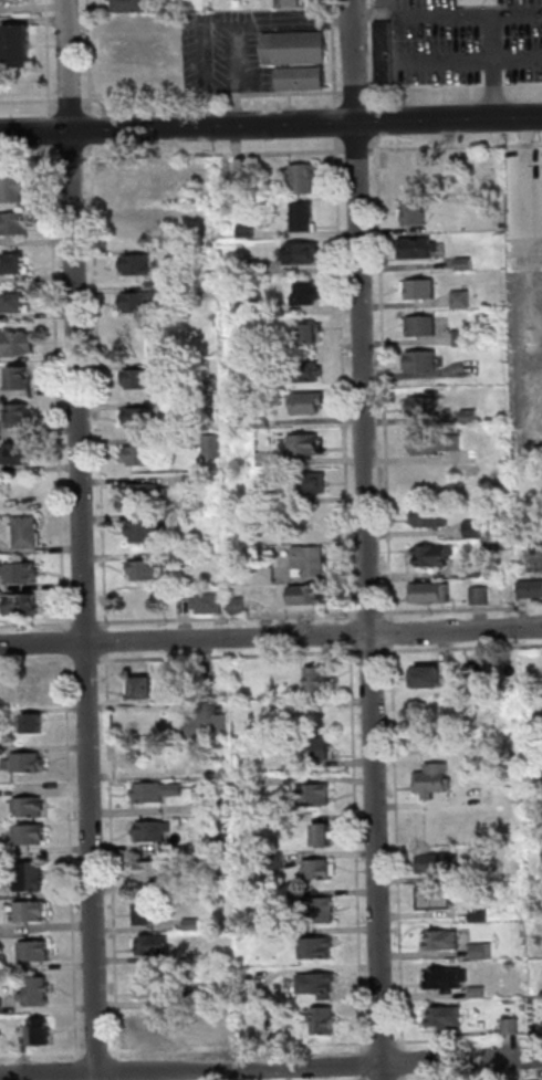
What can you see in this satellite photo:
building: (9, 1)
building: (486, 1)
building: (295, 3)
building: (129, 6)
road: (469, 12)
road: (34, 18)
road: (244, 27)
road: (207, 42)
parking lot: (466, 42)
building: (20, 48)
parking lot: (238, 48)
road: (375, 52)
building: (386, 52)
road: (335, 54)
road: (50, 57)
road: (90, 57)
building: (300, 60)
road: (469, 60)
road: (493, 65)
building: (3, 73)
road: (456, 90)
road: (358, 93)
road: (215, 96)
road: (30, 101)
road: (72, 101)
road: (519, 117)
road: (377, 119)
road: (426, 119)
road: (338, 122)
road: (178, 127)
road: (52, 130)
road: (92, 130)
road: (529, 132)
road: (456, 146)
road: (357, 149)
road: (216, 154)
road: (74, 159)
road: (31, 160)
building: (302, 179)
building: (131, 185)
building: (13, 191)
road: (531, 200)
parking lot: (525, 207)
building: (416, 212)
building: (305, 218)
building: (13, 226)
building: (249, 232)
building: (417, 249)
building: (191, 254)
building: (303, 254)
building: (14, 265)
building: (138, 265)
building: (466, 265)
building: (248, 269)
building: (420, 290)
building: (192, 291)
building: (309, 295)
building: (462, 300)
building: (145, 302)
building: (18, 304)
parking lot: (528, 321)
road: (530, 325)
building: (423, 327)
building: (312, 334)
building: (465, 338)
building: (18, 344)
building: (272, 348)
road: (531, 352)
road: (520, 359)
building: (424, 363)
building: (308, 374)
road: (385, 377)
road: (345, 378)
building: (22, 379)
building: (138, 380)
road: (101, 387)
road: (60, 388)
building: (197, 403)
building: (310, 403)
building: (425, 406)
building: (21, 416)
building: (472, 417)
building: (138, 418)
building: (540, 418)
building: (265, 423)
building: (305, 444)
building: (435, 444)
building: (215, 447)
building: (18, 454)
building: (142, 457)
building: (202, 482)
building: (312, 484)
building: (146, 493)
building: (169, 517)
building: (431, 520)
building: (308, 526)
building: (477, 529)
building: (29, 533)
building: (147, 533)
road: (85, 539)
road: (369, 539)
building: (185, 556)
building: (435, 556)
building: (311, 563)
building: (147, 572)
building: (476, 572)
building: (22, 575)
building: (267, 576)
building: (532, 589)
building: (431, 595)
building: (309, 596)
building: (482, 597)
building: (21, 605)
building: (209, 605)
building: (239, 607)
road: (462, 608)
road: (373, 612)
road: (230, 618)
road: (86, 623)
road: (37, 625)
road: (353, 632)
road: (394, 632)
road: (271, 637)
road: (108, 641)
road: (67, 643)
road: (353, 648)
road: (463, 648)
road: (373, 651)
road: (231, 656)
road: (37, 661)
road: (87, 661)
building: (425, 675)
building: (314, 679)
building: (139, 686)
building: (205, 686)
building: (31, 689)
building: (207, 720)
building: (35, 725)
building: (315, 747)
building: (27, 763)
building: (430, 778)
building: (505, 783)
building: (153, 790)
building: (313, 794)
building: (216, 805)
building: (31, 808)
building: (149, 830)
building: (322, 832)
building: (30, 835)
building: (219, 841)
road: (399, 846)
road: (358, 850)
road: (114, 856)
road: (73, 857)
building: (430, 862)
building: (319, 868)
building: (152, 869)
building: (32, 878)
building: (225, 881)
building: (432, 896)
building: (316, 910)
building: (32, 911)
building: (143, 912)
building: (481, 914)
building: (190, 923)
building: (439, 939)
building: (150, 944)
building: (315, 946)
building: (480, 950)
building: (37, 952)
building: (240, 958)
building: (246, 974)
building: (444, 976)
building: (315, 983)
building: (154, 986)
building: (477, 990)
building: (37, 993)
building: (194, 998)
building: (1, 1006)
building: (440, 1016)
building: (321, 1019)
building: (509, 1025)
building: (150, 1031)
building: (41, 1032)
building: (192, 1032)
road: (469, 1038)
road: (384, 1041)
road: (241, 1046)
road: (98, 1051)
road: (43, 1052)
road: (406, 1061)
road: (364, 1062)
road: (271, 1067)
road: (79, 1069)
road: (121, 1069)
road: (365, 1077)
road: (406, 1077)
road: (525, 1079)

